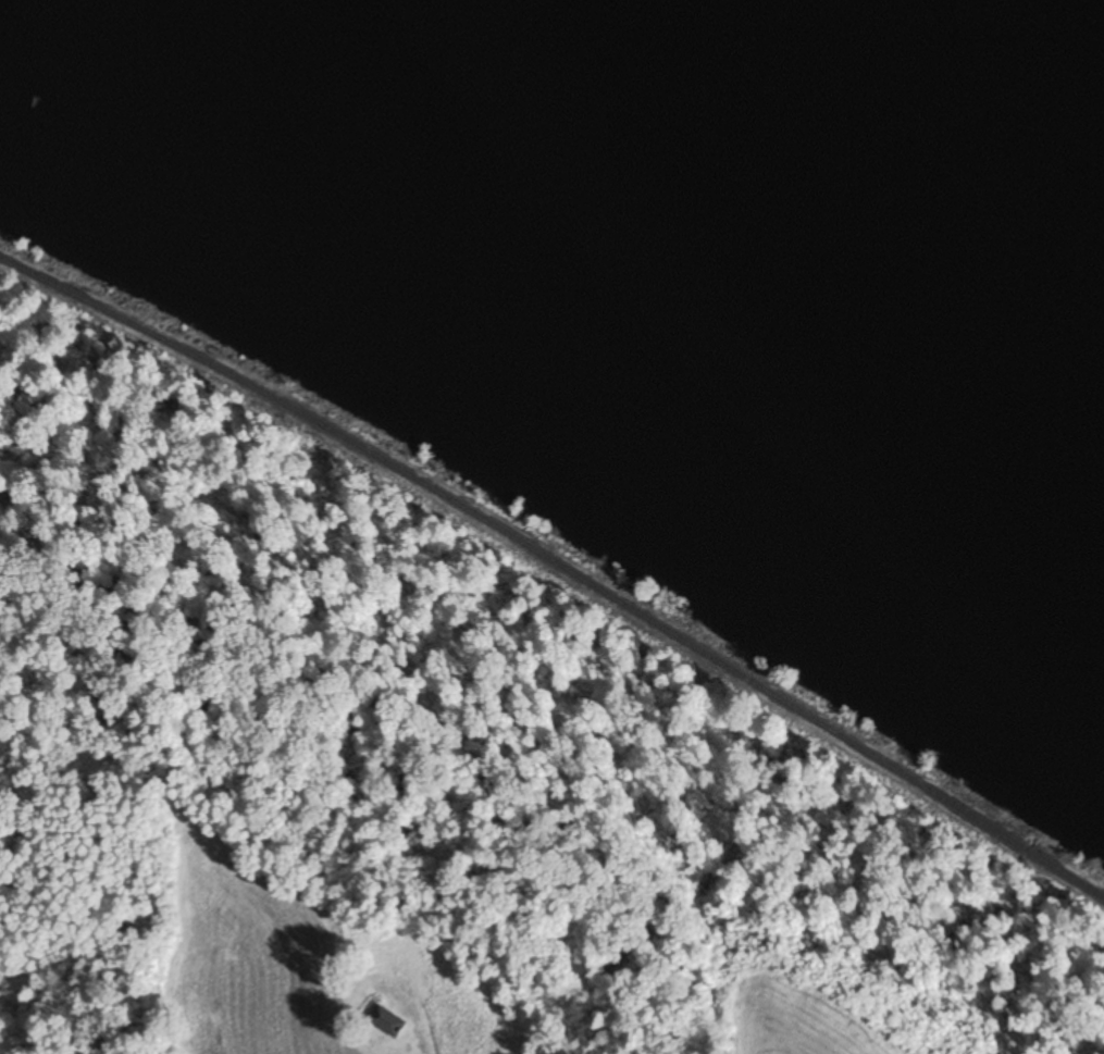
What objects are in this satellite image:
railway: (558, 566)
building: (388, 1021)

